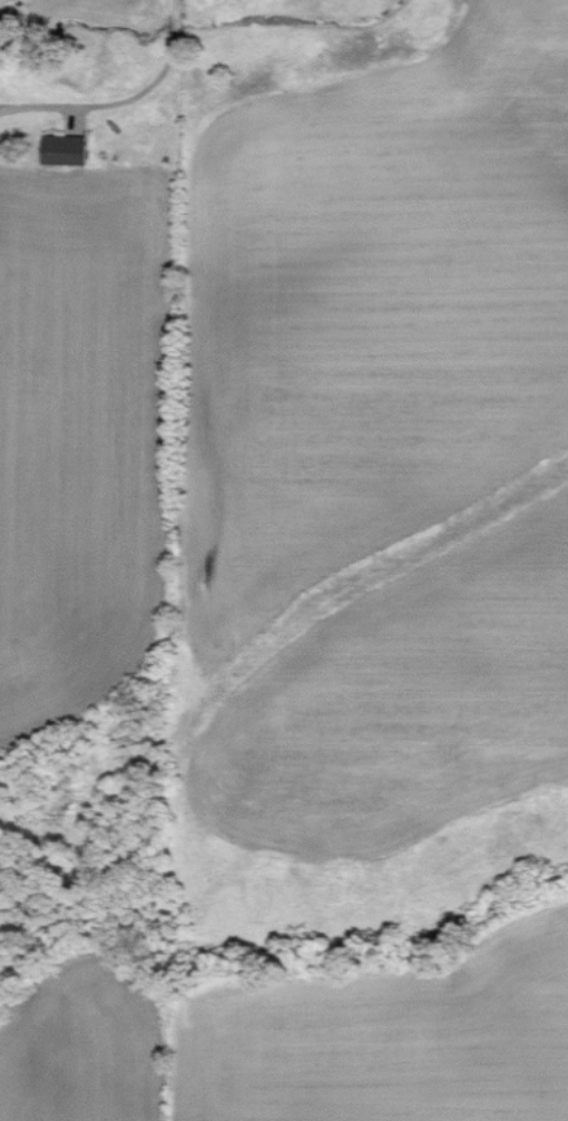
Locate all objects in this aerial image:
building: (60, 148)

